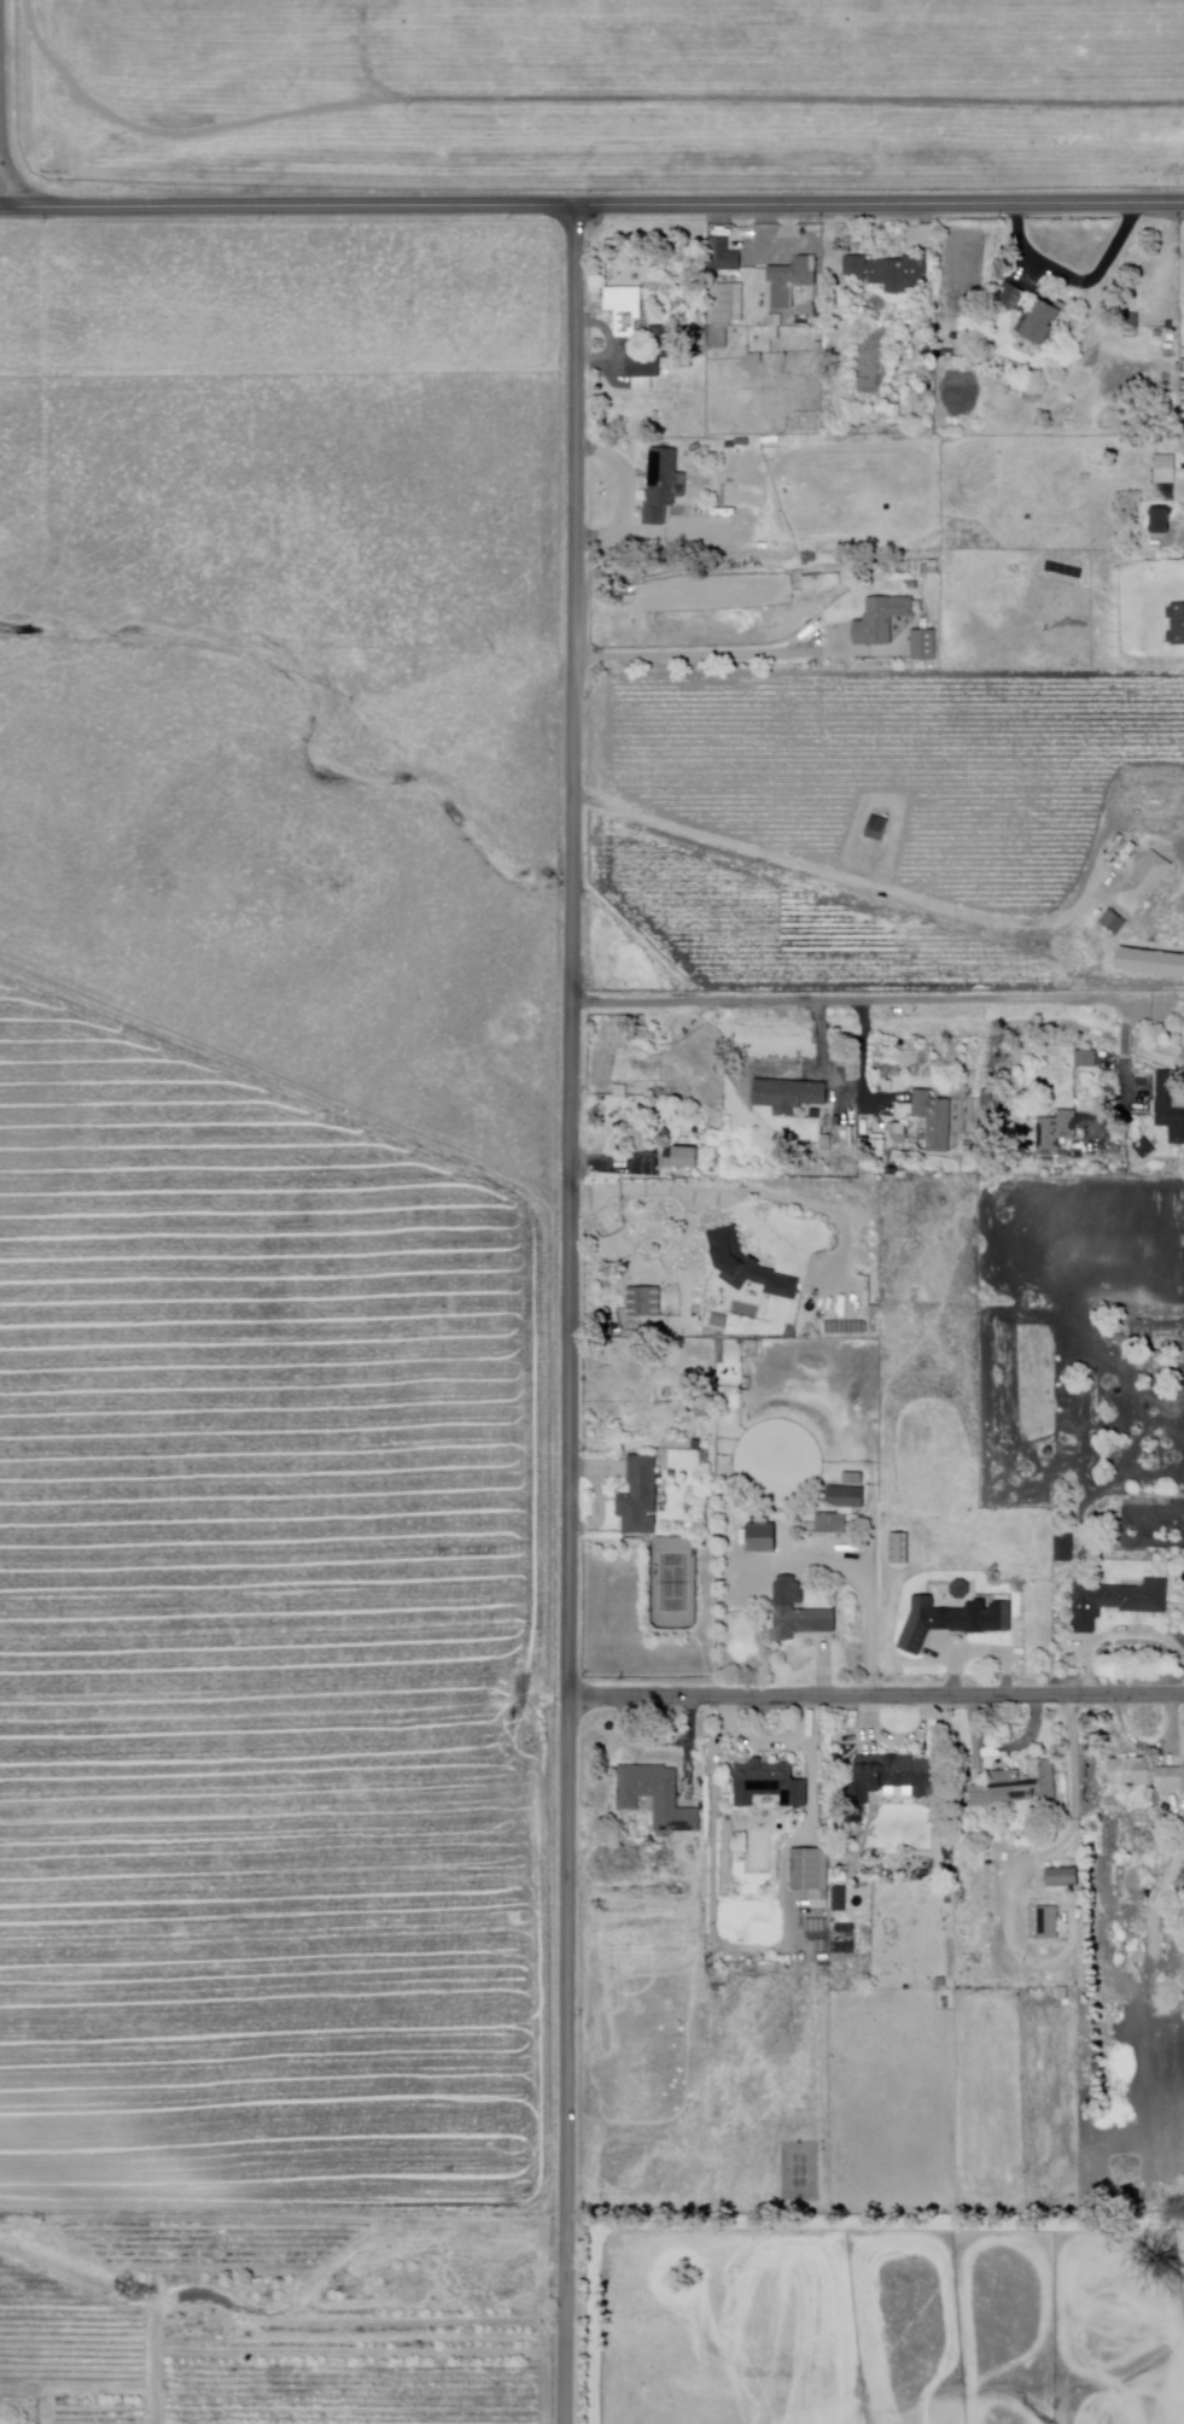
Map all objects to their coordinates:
airport: (602, 90)
road: (568, 94)
road: (591, 206)
building: (723, 256)
building: (886, 271)
building: (789, 280)
building: (722, 304)
building: (623, 306)
building: (1028, 316)
building: (1127, 326)
building: (715, 338)
building: (652, 355)
building: (890, 414)
building: (1163, 468)
building: (660, 485)
building: (1156, 520)
building: (932, 568)
building: (830, 579)
building: (881, 620)
building: (1177, 625)
building: (815, 632)
building: (832, 632)
building: (923, 646)
road: (705, 653)
building: (877, 828)
road: (835, 874)
building: (1145, 881)
building: (1114, 922)
building: (1149, 966)
road: (842, 998)
building: (642, 1033)
building: (1087, 1059)
building: (787, 1096)
building: (829, 1111)
building: (1168, 1111)
building: (979, 1114)
building: (934, 1120)
building: (828, 1129)
building: (1055, 1135)
building: (900, 1138)
building: (1145, 1145)
building: (876, 1149)
building: (676, 1162)
building: (862, 1216)
building: (868, 1233)
building: (745, 1262)
building: (643, 1303)
road: (568, 1314)
building: (832, 1315)
building: (637, 1499)
building: (846, 1499)
building: (832, 1524)
building: (960, 1538)
building: (764, 1541)
building: (899, 1548)
building: (1066, 1548)
park: (675, 1583)
park: (675, 1583)
building: (1119, 1602)
building: (952, 1622)
building: (805, 1623)
crop: (264, 1640)
road: (874, 1698)
building: (1144, 1774)
building: (887, 1778)
building: (768, 1785)
building: (1009, 1786)
building: (654, 1795)
building: (1089, 1832)
building: (810, 1875)
building: (1057, 1879)
building: (839, 1899)
building: (1045, 1923)
park: (801, 2172)

